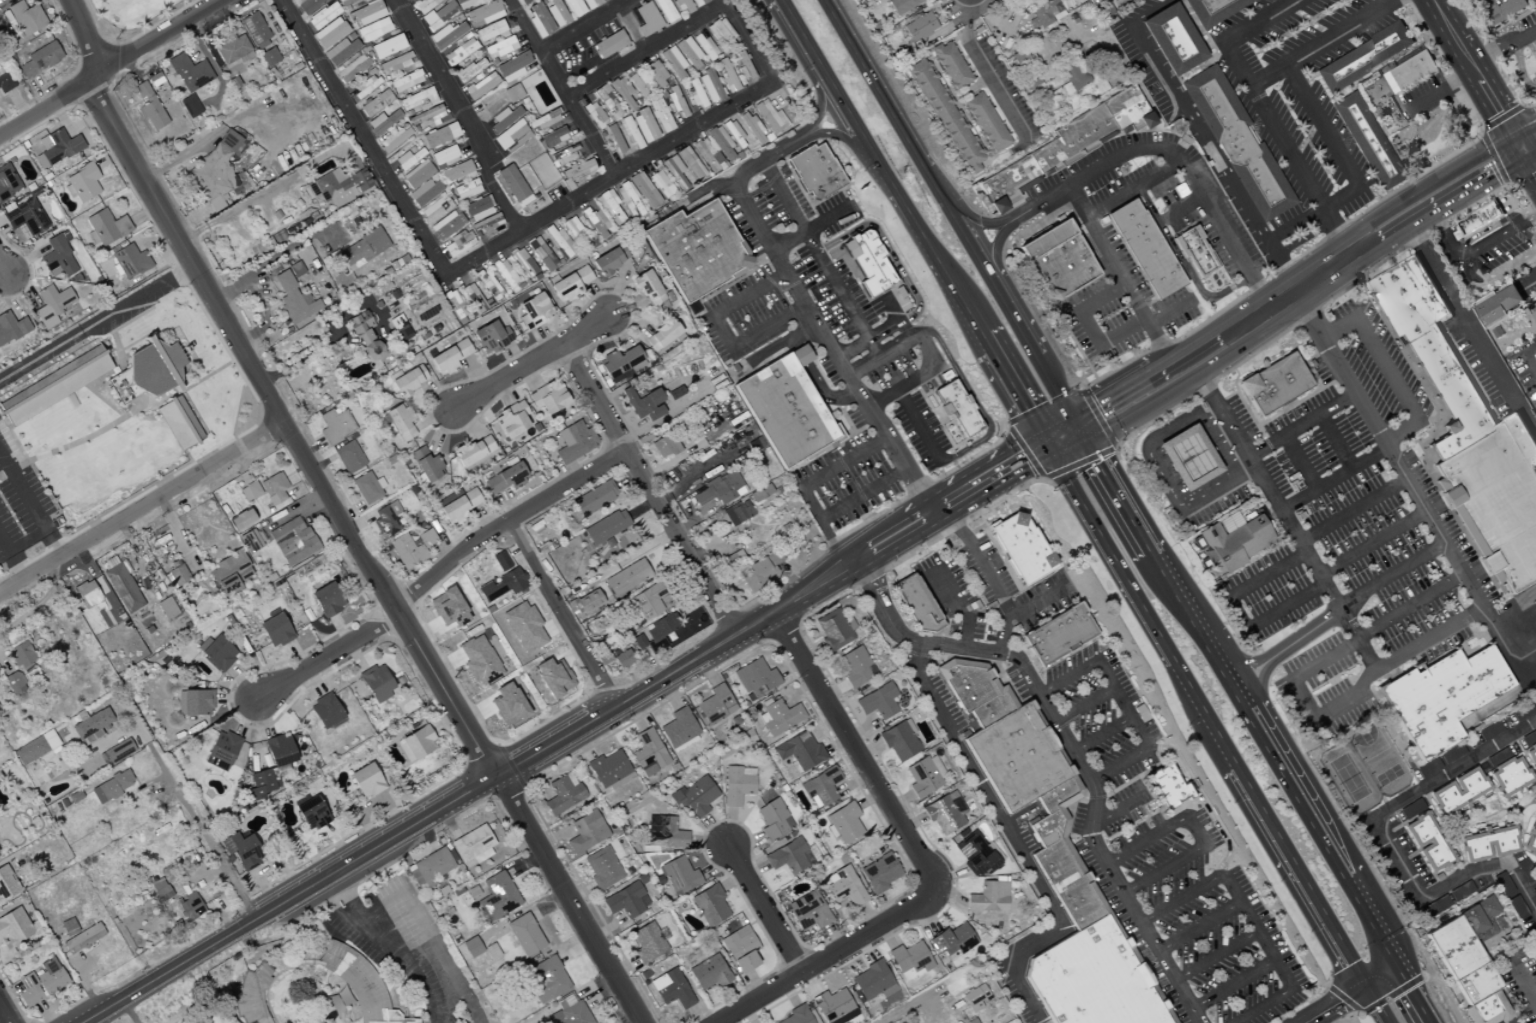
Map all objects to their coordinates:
building: (1059, 0)
building: (524, 1)
building: (698, 2)
building: (466, 3)
building: (590, 4)
road: (1388, 4)
building: (308, 5)
building: (425, 5)
building: (902, 5)
building: (683, 6)
building: (573, 8)
building: (665, 11)
building: (1214, 11)
road: (1465, 11)
building: (1505, 11)
building: (485, 12)
building: (366, 13)
building: (556, 13)
building: (1043, 13)
building: (323, 16)
building: (439, 16)
building: (23, 17)
building: (646, 19)
building: (539, 21)
road: (582, 25)
building: (919, 26)
building: (255, 29)
building: (374, 30)
building: (491, 31)
building: (721, 31)
building: (330, 33)
building: (447, 35)
road: (746, 36)
building: (1173, 40)
building: (608, 44)
building: (387, 46)
building: (704, 46)
road: (1318, 46)
road: (1503, 46)
building: (500, 48)
road: (793, 49)
building: (233, 51)
building: (340, 51)
road: (647, 51)
building: (460, 52)
building: (688, 53)
building: (269, 57)
building: (1364, 57)
building: (40, 59)
building: (672, 62)
building: (395, 63)
building: (949, 64)
road: (110, 66)
road: (1522, 66)
building: (512, 67)
road: (1473, 68)
building: (353, 69)
road: (986, 69)
building: (469, 70)
building: (744, 71)
building: (1411, 72)
building: (190, 73)
building: (655, 74)
building: (1073, 74)
building: (726, 76)
building: (406, 81)
building: (5, 83)
building: (366, 85)
building: (481, 86)
building: (638, 86)
building: (709, 87)
road: (561, 88)
building: (622, 92)
building: (695, 94)
building: (418, 99)
road: (881, 99)
building: (607, 102)
building: (375, 103)
road: (820, 105)
building: (189, 106)
building: (148, 107)
building: (1126, 110)
road: (1264, 110)
road: (461, 114)
building: (593, 114)
road: (1186, 114)
building: (660, 115)
building: (428, 116)
building: (945, 116)
building: (550, 117)
building: (769, 117)
building: (504, 118)
building: (382, 122)
building: (985, 122)
park: (1430, 122)
building: (644, 126)
road: (695, 128)
building: (751, 128)
road: (1526, 130)
road: (801, 132)
building: (628, 133)
building: (733, 134)
building: (440, 135)
traffic signals: (1516, 136)
building: (511, 137)
building: (553, 137)
building: (614, 138)
road: (850, 138)
building: (1073, 140)
building: (1368, 141)
building: (720, 143)
building: (1238, 143)
road: (802, 144)
building: (56, 148)
road: (1523, 148)
road: (775, 151)
road: (1167, 153)
building: (563, 156)
building: (707, 156)
building: (444, 157)
building: (408, 158)
road: (1533, 158)
traffic signals: (1530, 160)
building: (690, 163)
road: (879, 165)
road: (1533, 165)
building: (214, 167)
road: (385, 169)
building: (541, 171)
building: (814, 171)
road: (1350, 171)
building: (457, 172)
building: (575, 172)
building: (674, 172)
building: (417, 174)
building: (7, 182)
road: (1437, 182)
building: (82, 183)
building: (1008, 183)
building: (341, 184)
building: (660, 184)
building: (513, 185)
building: (466, 189)
building: (643, 190)
road: (1131, 190)
building: (423, 192)
road: (782, 198)
building: (628, 200)
road: (1449, 204)
road: (567, 205)
building: (609, 207)
building: (477, 208)
building: (436, 210)
road: (1180, 210)
road: (234, 211)
building: (24, 216)
building: (1481, 219)
road: (985, 223)
building: (486, 224)
building: (595, 224)
building: (446, 225)
building: (106, 227)
building: (574, 231)
road: (807, 231)
road: (1303, 239)
building: (458, 243)
building: (363, 249)
building: (694, 250)
building: (1145, 250)
road: (1476, 251)
building: (1196, 253)
building: (541, 254)
road: (993, 254)
building: (59, 257)
road: (975, 257)
building: (609, 259)
building: (130, 261)
road: (268, 261)
building: (523, 262)
road: (826, 262)
building: (868, 262)
building: (1058, 262)
road: (1182, 264)
road: (1279, 267)
building: (295, 269)
road: (4, 271)
road: (1115, 272)
road: (1317, 272)
building: (505, 274)
road: (1494, 280)
building: (569, 284)
building: (490, 287)
building: (647, 288)
road: (890, 288)
road: (845, 293)
road: (1260, 293)
building: (1408, 298)
road: (136, 299)
building: (294, 300)
building: (51, 305)
building: (454, 305)
building: (1502, 305)
building: (533, 311)
building: (1534, 313)
road: (1168, 314)
road: (1257, 320)
road: (815, 325)
road: (864, 325)
road: (1474, 325)
building: (11, 327)
road: (1088, 327)
building: (399, 328)
road: (724, 332)
building: (660, 335)
road: (1022, 336)
building: (366, 337)
building: (491, 337)
road: (1212, 338)
road: (331, 339)
road: (984, 342)
road: (39, 355)
building: (1535, 355)
road: (1164, 356)
building: (449, 357)
road: (883, 357)
building: (620, 364)
road: (530, 365)
road: (1389, 369)
building: (146, 373)
building: (408, 380)
building: (54, 385)
road: (1050, 385)
road: (901, 387)
building: (1275, 388)
road: (1107, 390)
building: (1450, 390)
road: (266, 393)
building: (674, 393)
road: (1169, 393)
building: (548, 397)
road: (1017, 398)
road: (973, 401)
building: (643, 404)
building: (956, 407)
building: (786, 408)
traffic signals: (1067, 415)
building: (511, 419)
road: (1209, 419)
building: (400, 422)
building: (178, 423)
road: (1300, 425)
building: (335, 426)
road: (918, 426)
road: (1075, 429)
road: (1056, 430)
road: (1178, 440)
building: (573, 442)
road: (1333, 442)
traffic signals: (1084, 443)
road: (1240, 443)
road: (1064, 444)
traffic signals: (1045, 445)
building: (664, 447)
building: (474, 451)
building: (348, 457)
building: (1189, 458)
gas station: (1189, 458)
road: (842, 463)
gas station: (1191, 463)
road: (1298, 463)
building: (426, 465)
building: (505, 478)
road: (1332, 479)
road: (1407, 485)
building: (273, 488)
building: (367, 488)
building: (719, 489)
road: (647, 490)
building: (249, 491)
building: (760, 493)
road: (860, 494)
road: (1117, 497)
building: (594, 498)
building: (1496, 499)
road: (1186, 500)
building: (458, 507)
road: (29, 508)
road: (141, 508)
building: (393, 508)
road: (1352, 512)
building: (738, 513)
building: (241, 520)
building: (385, 522)
road: (503, 525)
road: (821, 526)
building: (605, 527)
building: (253, 539)
building: (292, 541)
road: (1371, 544)
building: (1235, 546)
building: (1022, 548)
road: (1110, 553)
road: (12, 558)
building: (760, 570)
building: (230, 571)
building: (177, 575)
building: (626, 577)
road: (1391, 577)
building: (501, 579)
road: (991, 584)
building: (121, 585)
building: (90, 591)
road: (1327, 591)
building: (327, 599)
building: (586, 602)
building: (647, 602)
road: (879, 602)
road: (961, 605)
building: (913, 607)
building: (448, 608)
building: (167, 609)
road: (769, 611)
road: (562, 614)
building: (109, 615)
road: (1236, 615)
road: (1519, 621)
building: (523, 627)
building: (660, 630)
building: (832, 630)
building: (275, 631)
road: (1002, 634)
building: (638, 641)
building: (1056, 641)
road: (1285, 648)
building: (218, 653)
building: (21, 655)
road: (325, 658)
building: (622, 658)
building: (479, 660)
building: (855, 667)
road: (1068, 676)
building: (552, 677)
building: (754, 678)
building: (14, 682)
building: (376, 683)
building: (1441, 698)
road: (1301, 699)
building: (193, 702)
building: (877, 702)
road: (1122, 703)
building: (507, 704)
building: (715, 705)
road: (1085, 705)
road: (1204, 708)
building: (325, 711)
building: (779, 717)
building: (89, 725)
building: (679, 730)
building: (1489, 731)
road: (1103, 734)
building: (900, 741)
building: (416, 744)
building: (35, 748)
building: (1530, 748)
building: (221, 750)
building: (279, 750)
building: (118, 751)
building: (799, 751)
building: (647, 753)
road: (1274, 756)
road: (858, 757)
road: (1121, 763)
building: (608, 770)
building: (1505, 771)
building: (924, 776)
road: (460, 778)
building: (366, 780)
parking lot: (1099, 782)
building: (261, 784)
building: (736, 785)
building: (820, 786)
building: (111, 787)
road: (1094, 791)
building: (1456, 791)
building: (562, 794)
building: (1165, 794)
building: (694, 796)
building: (1410, 809)
building: (311, 813)
building: (945, 813)
road: (1116, 814)
building: (772, 819)
building: (843, 823)
building: (585, 832)
building: (664, 833)
road: (202, 834)
road: (1013, 841)
road: (1145, 841)
building: (1529, 841)
building: (1426, 843)
building: (471, 844)
building: (1487, 844)
road: (1384, 846)
building: (241, 850)
building: (975, 853)
building: (787, 857)
building: (1053, 864)
building: (431, 867)
road: (1299, 867)
building: (602, 868)
road: (1165, 869)
building: (878, 873)
building: (679, 875)
building: (7, 884)
building: (1502, 885)
building: (843, 886)
building: (160, 891)
building: (1534, 892)
building: (496, 897)
building: (988, 898)
road: (567, 899)
road: (1183, 899)
road: (286, 900)
building: (625, 900)
road: (1238, 901)
building: (709, 905)
building: (190, 906)
building: (1515, 907)
road: (763, 908)
building: (807, 911)
road: (352, 921)
road: (1198, 926)
building: (14, 928)
building: (525, 934)
building: (82, 938)
building: (952, 940)
building: (1533, 942)
building: (647, 943)
building: (471, 947)
building: (740, 949)
building: (491, 951)
road: (1215, 956)
road: (408, 961)
road: (817, 961)
building: (910, 961)
building: (1469, 961)
traffic signals: (1398, 963)
building: (709, 973)
building: (50, 976)
building: (545, 979)
building: (871, 980)
traffic signals: (1367, 980)
building: (359, 984)
road: (1522, 984)
road: (1233, 986)
building: (671, 989)
building: (29, 990)
road: (1346, 992)
road: (1415, 993)
building: (250, 994)
building: (975, 997)
road: (1379, 1001)
road: (911, 1003)
road: (1262, 1006)
building: (833, 1007)
road: (129, 1010)
building: (569, 1012)
road: (5, 1014)
building: (799, 1015)
building: (196, 1022)

